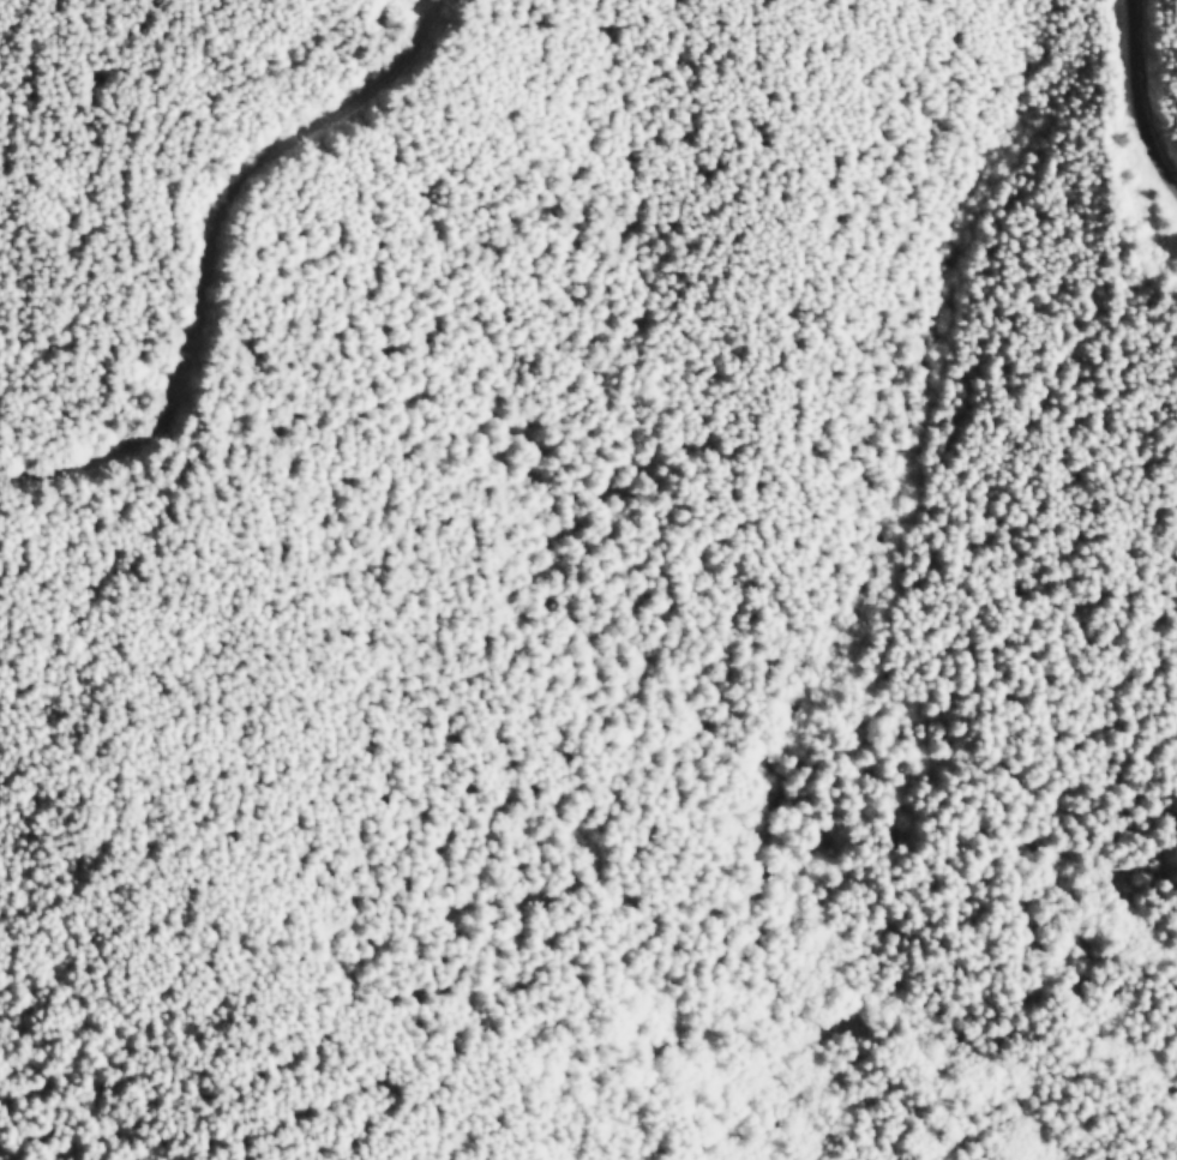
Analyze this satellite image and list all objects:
road: (1142, 98)
road: (214, 248)

